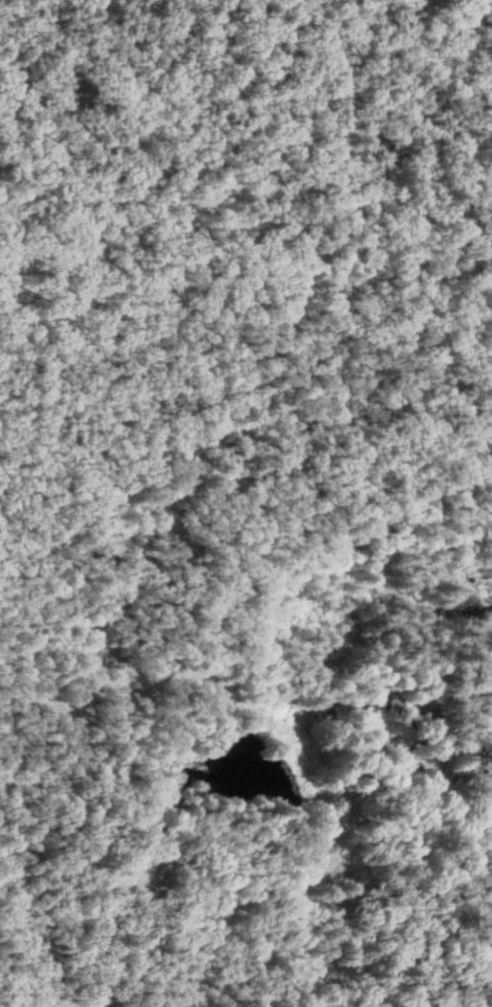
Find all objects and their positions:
road: (13, 875)

